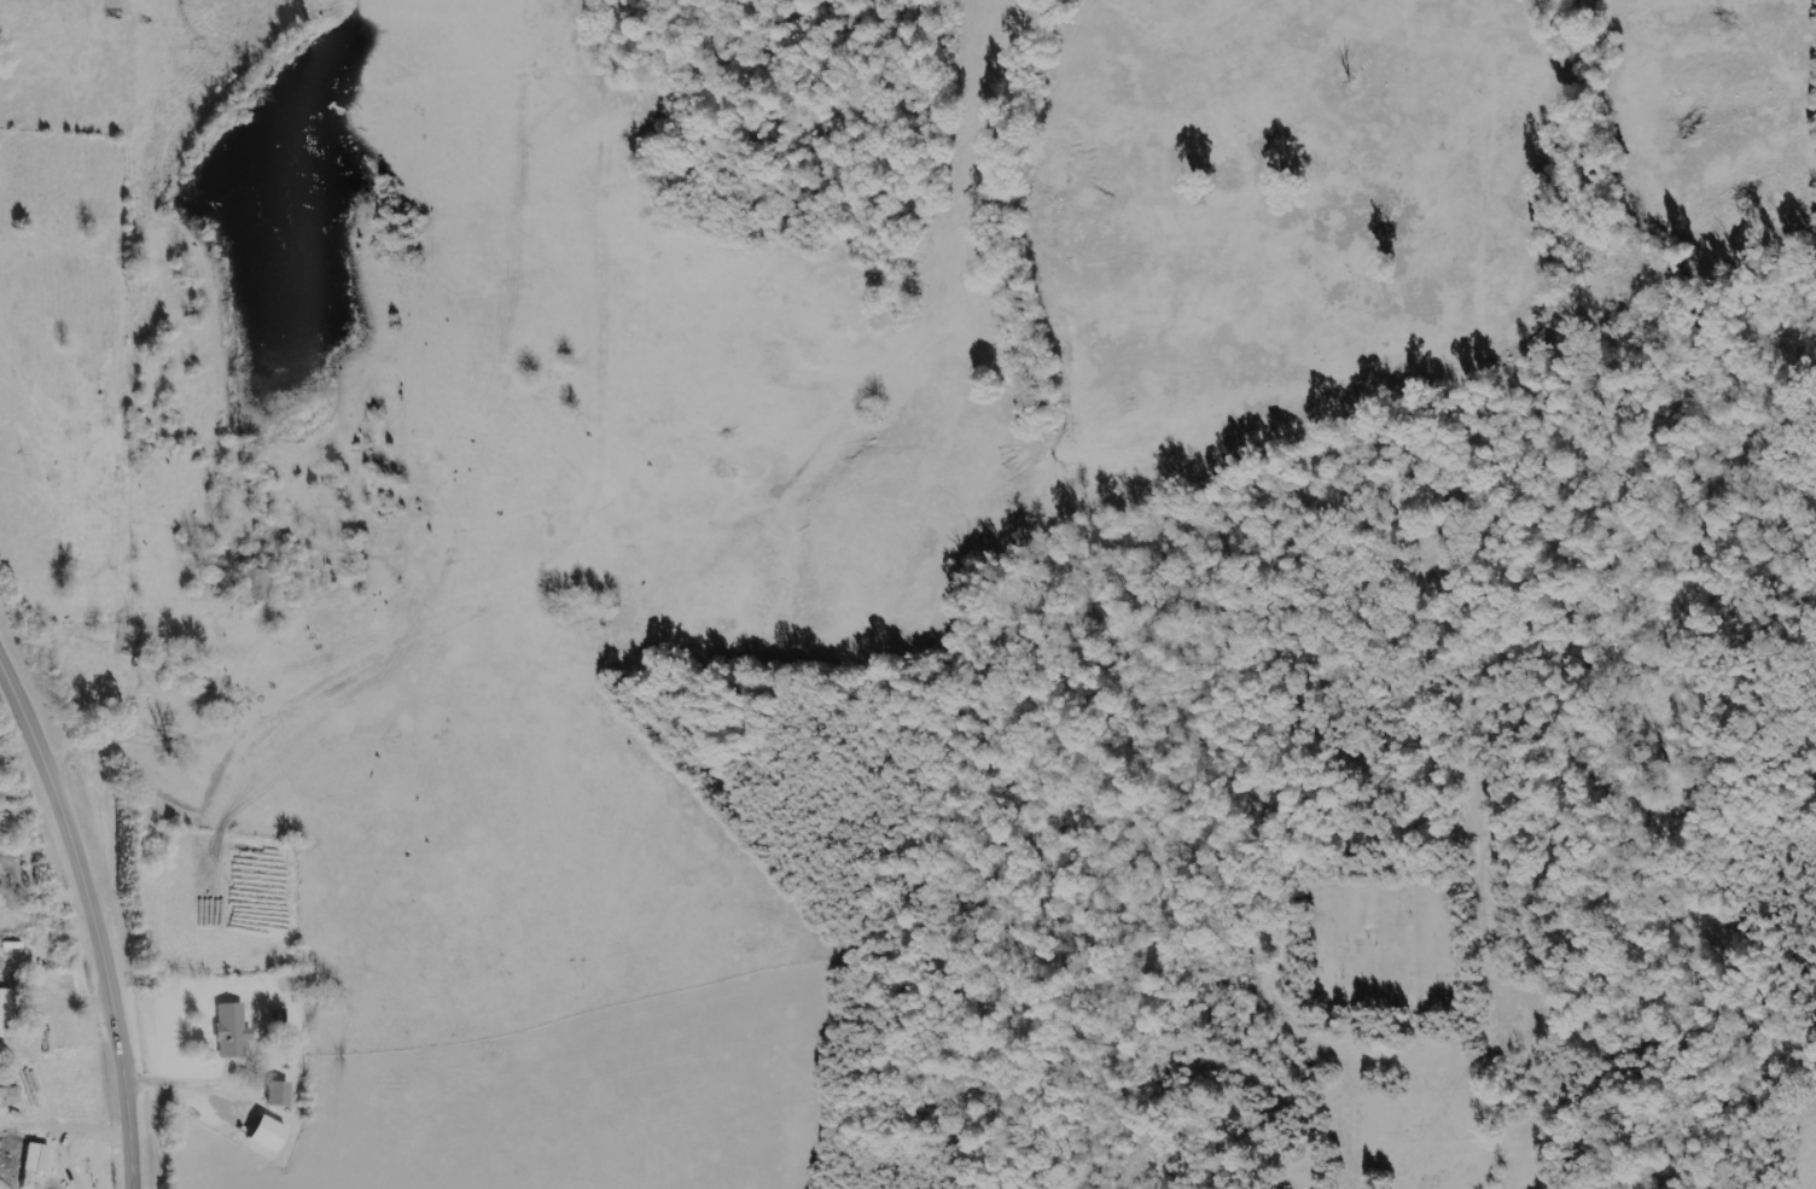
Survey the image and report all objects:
road: (88, 925)
park: (1380, 943)
building: (1, 1013)
building: (232, 1030)
building: (278, 1092)
building: (267, 1132)
building: (36, 1156)

